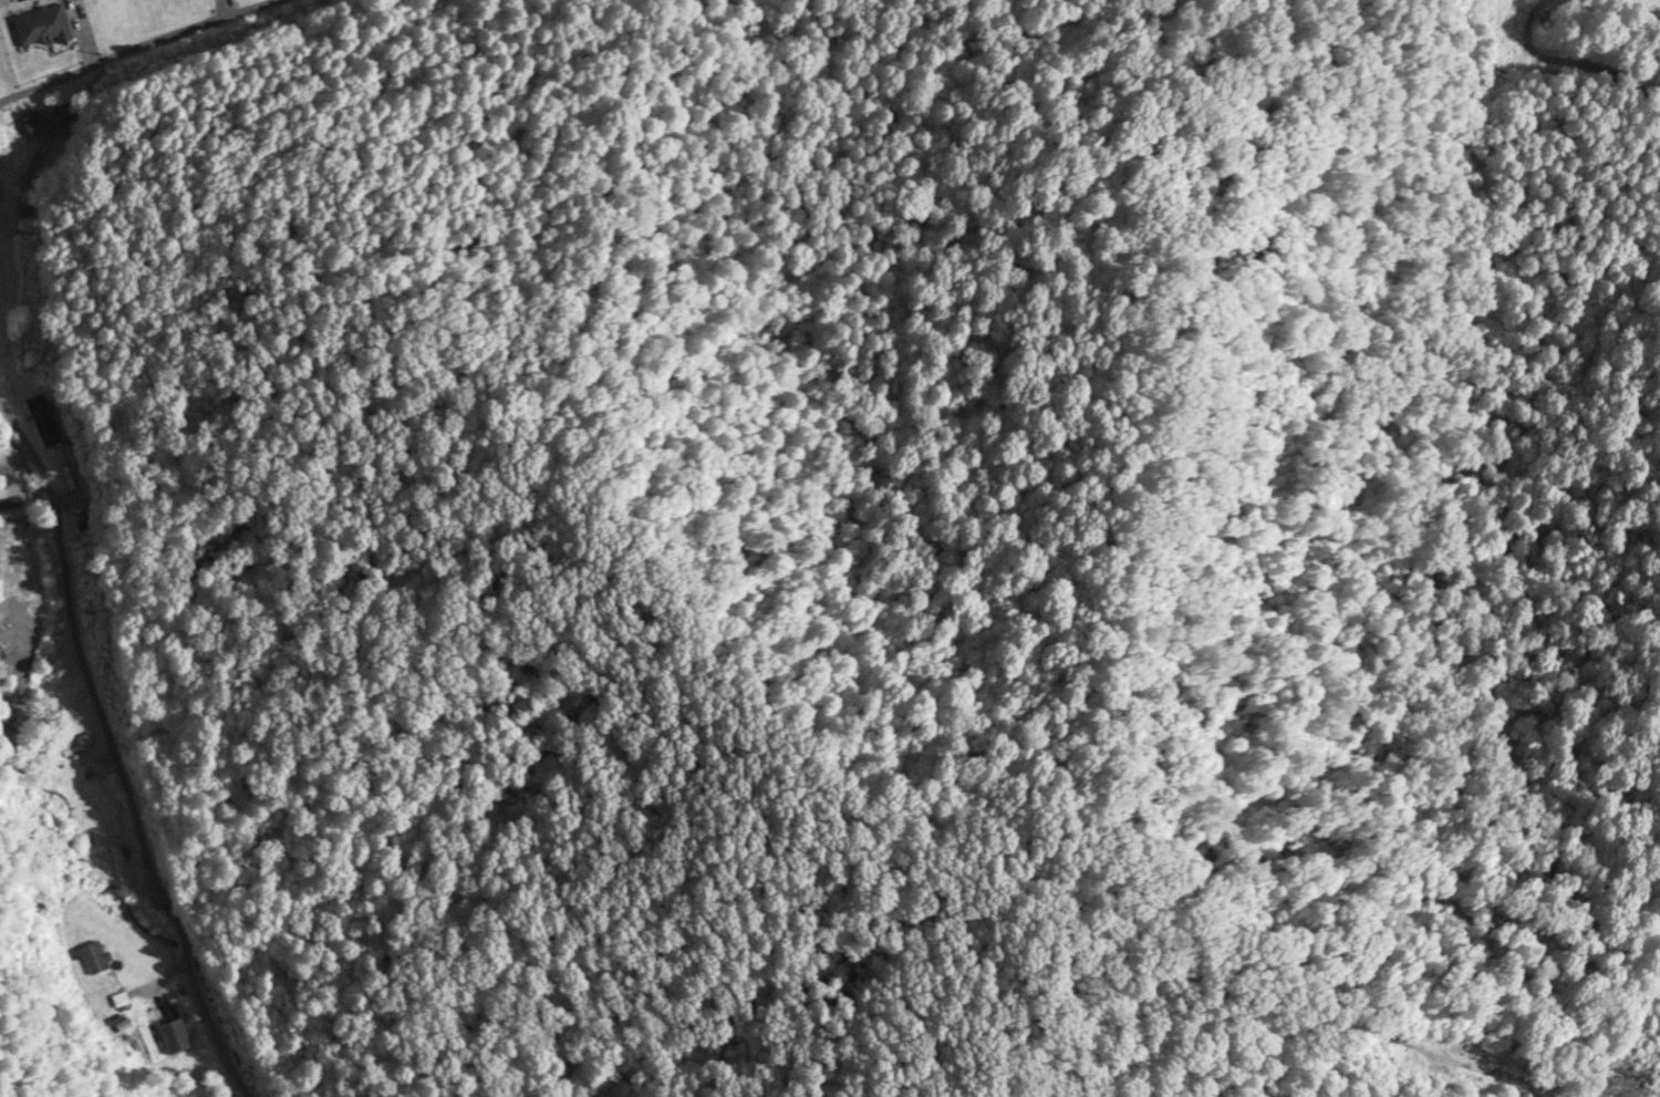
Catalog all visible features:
building: (60, 0)
building: (41, 29)
road: (155, 59)
building: (48, 121)
road: (105, 774)
road: (1539, 1065)

